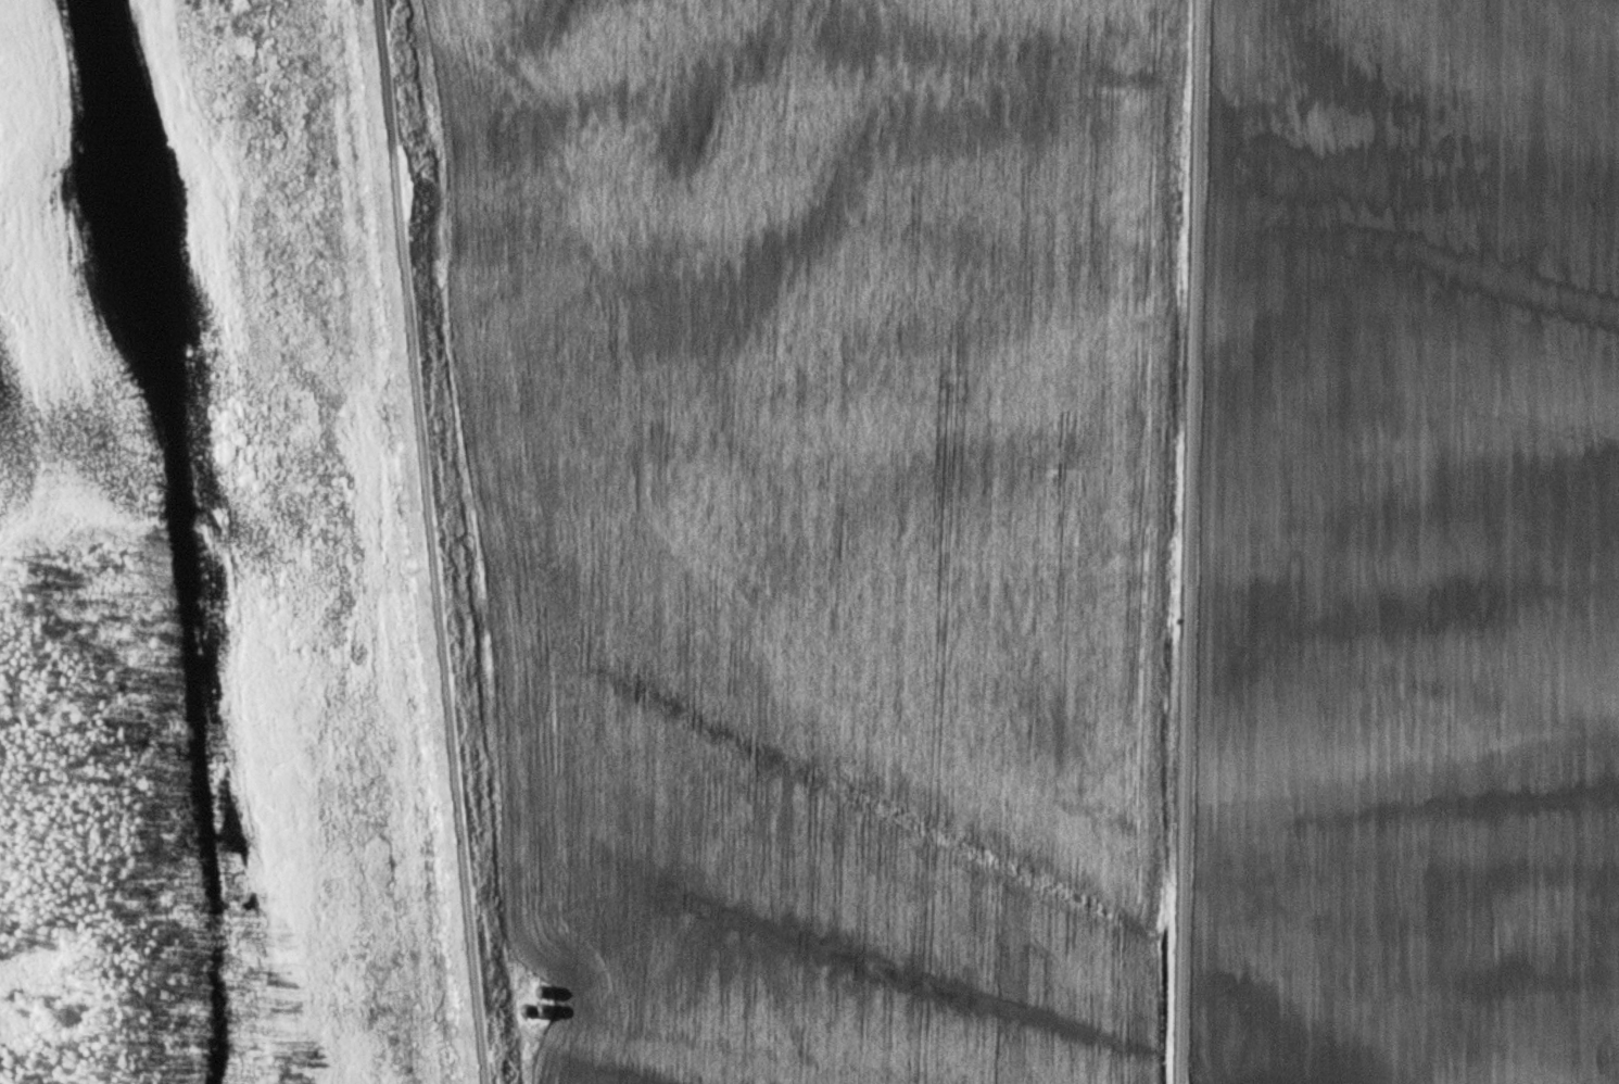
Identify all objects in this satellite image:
road: (433, 541)
road: (1190, 541)
road: (688, 1053)

